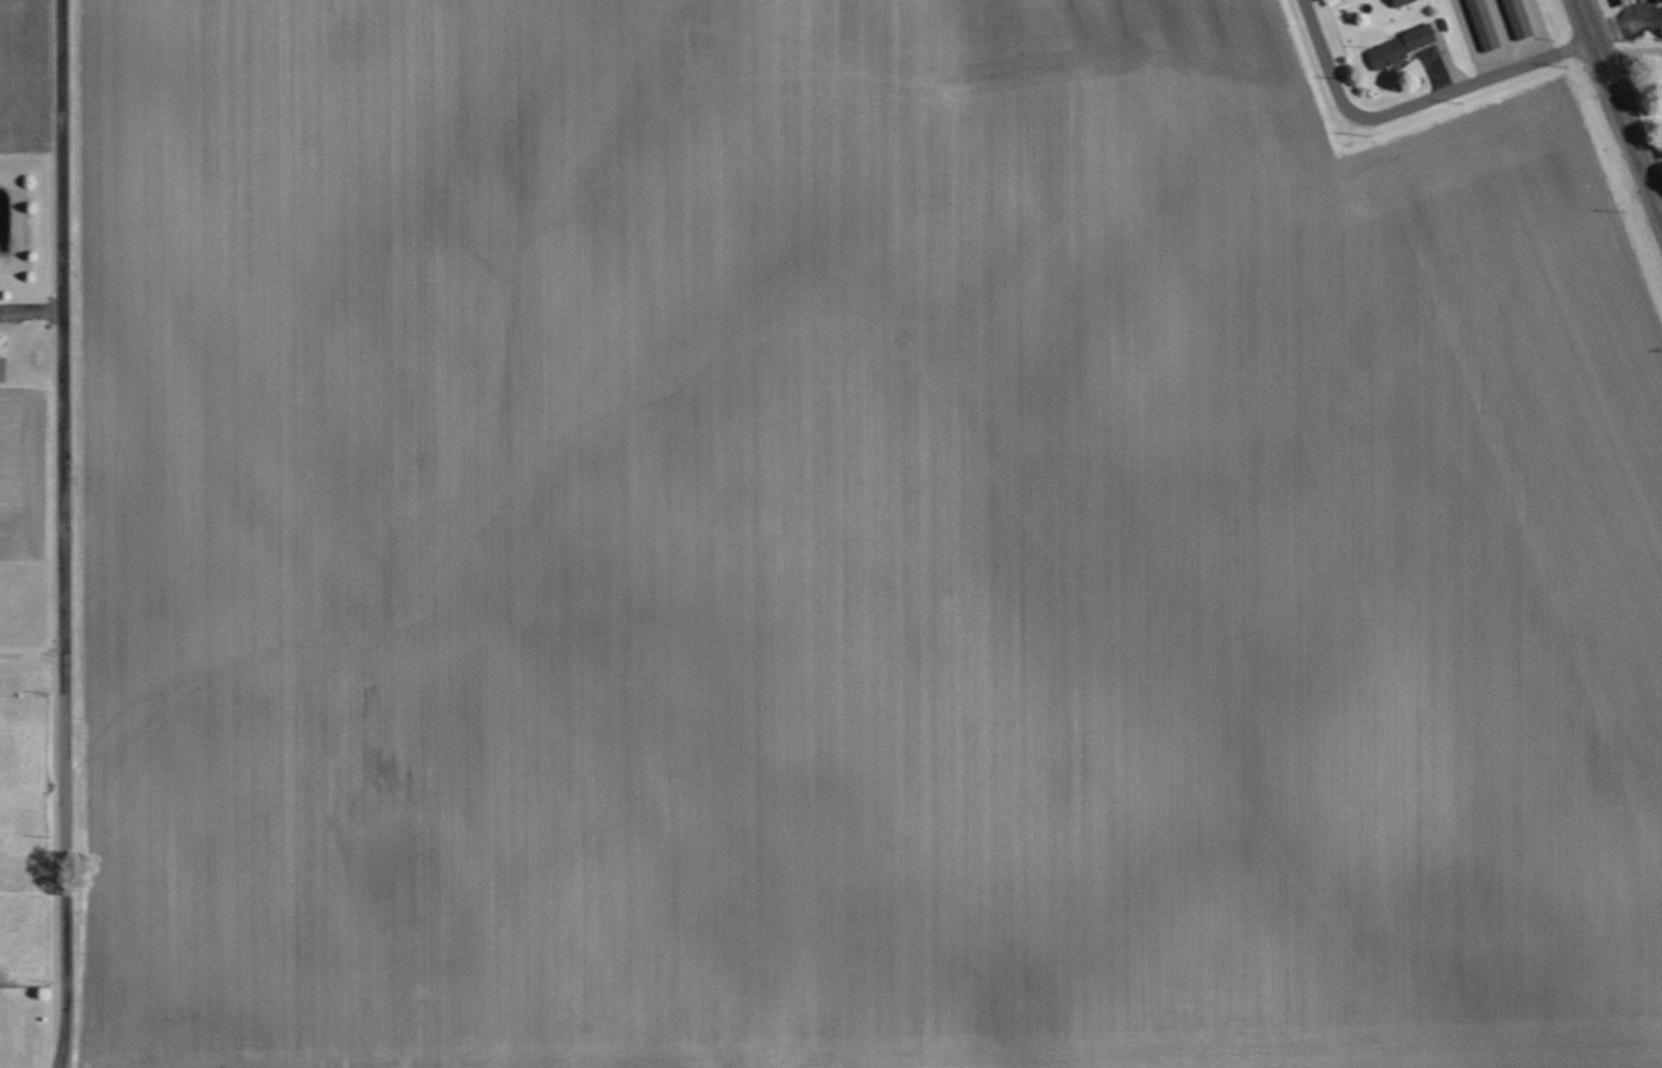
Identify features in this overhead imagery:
building: (1660, 0)
building: (1402, 2)
building: (1630, 2)
building: (1519, 18)
building: (1484, 24)
road: (1627, 25)
building: (1401, 47)
road: (1629, 52)
road: (1326, 63)
road: (1478, 80)
road: (1620, 114)
road: (34, 312)
road: (70, 533)
road: (35, 654)

